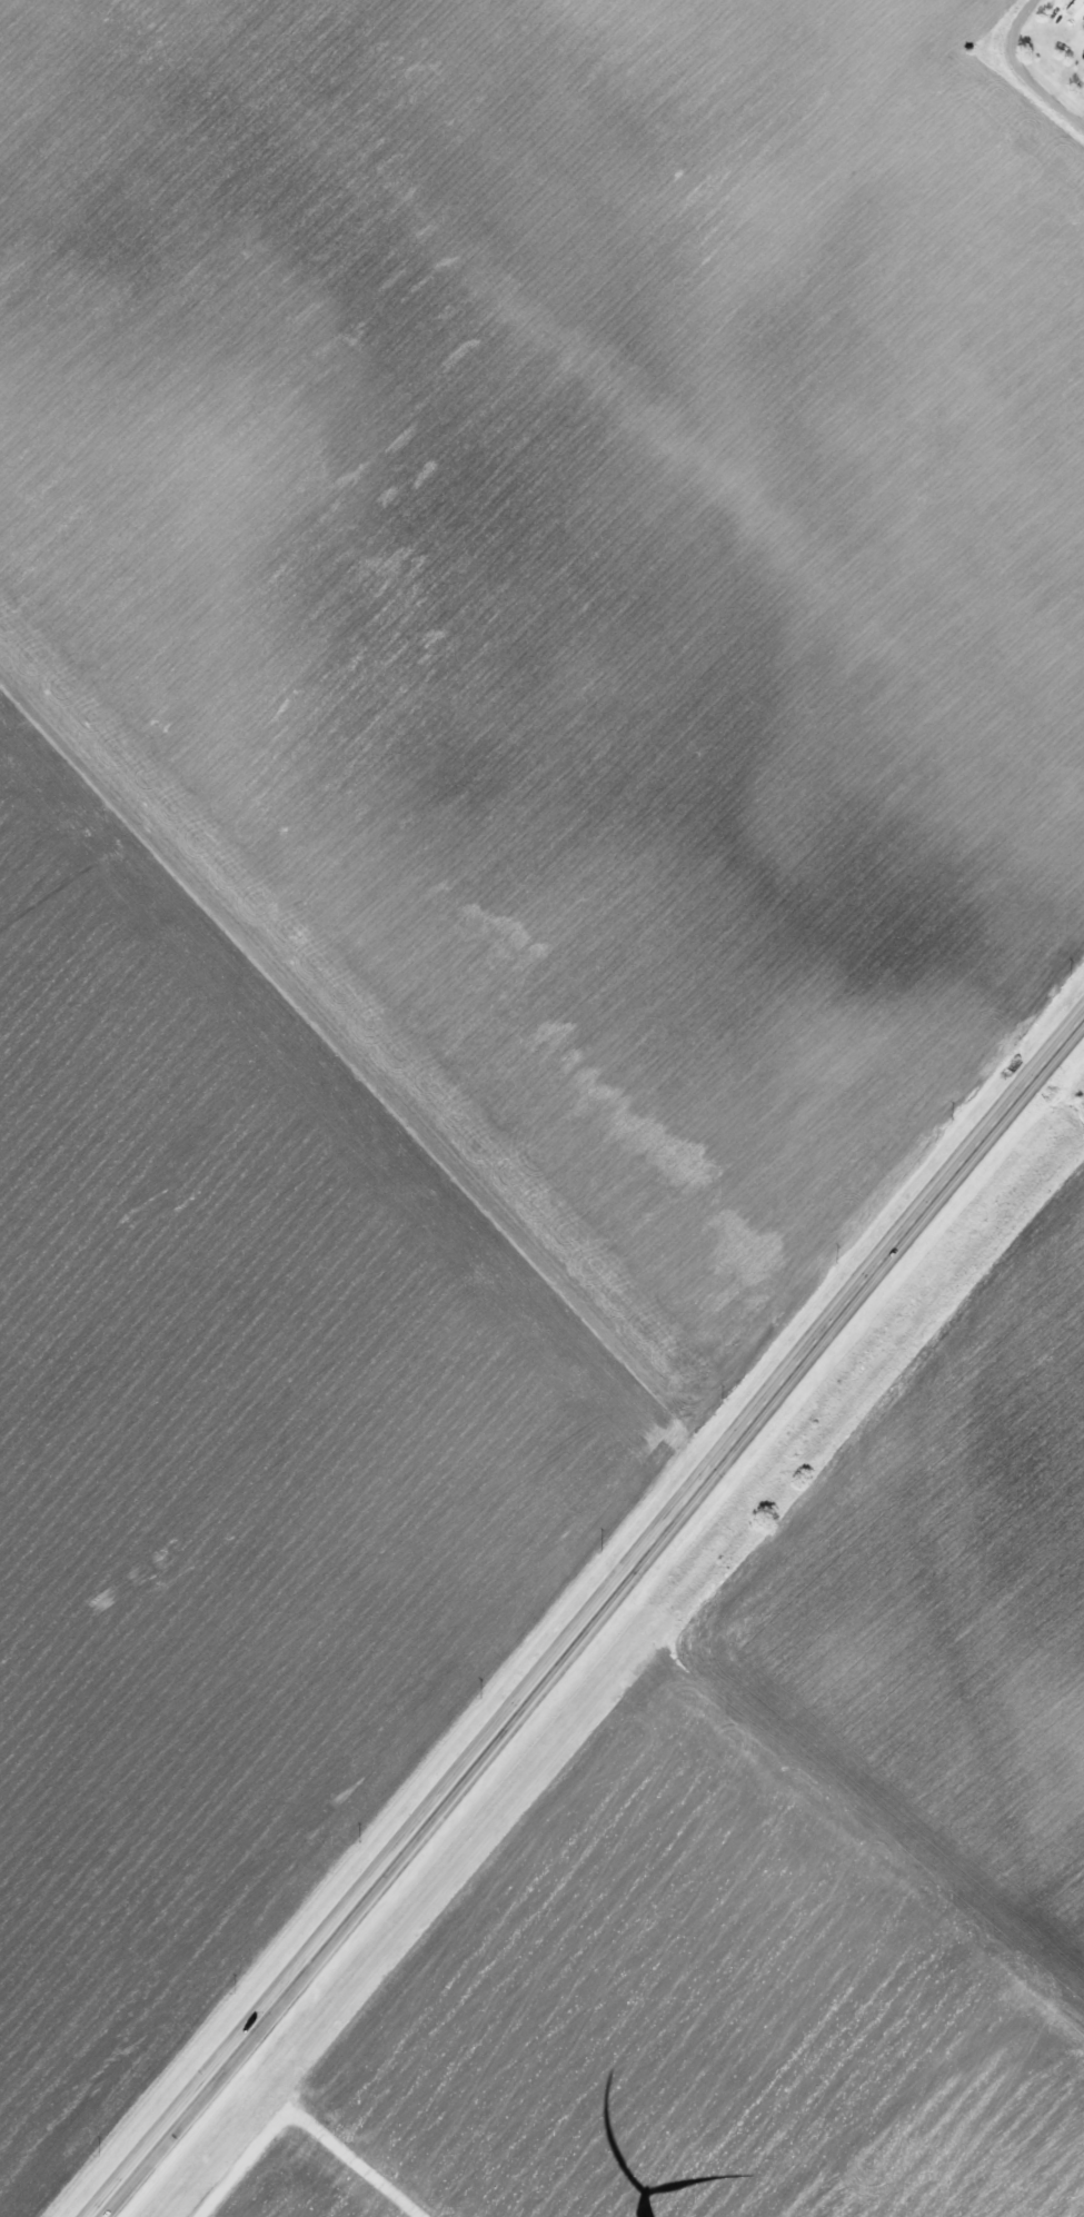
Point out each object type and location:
building: (1072, 7)
road: (1014, 20)
building: (1078, 53)
road: (1040, 89)
road: (593, 1621)
railway: (628, 1672)

